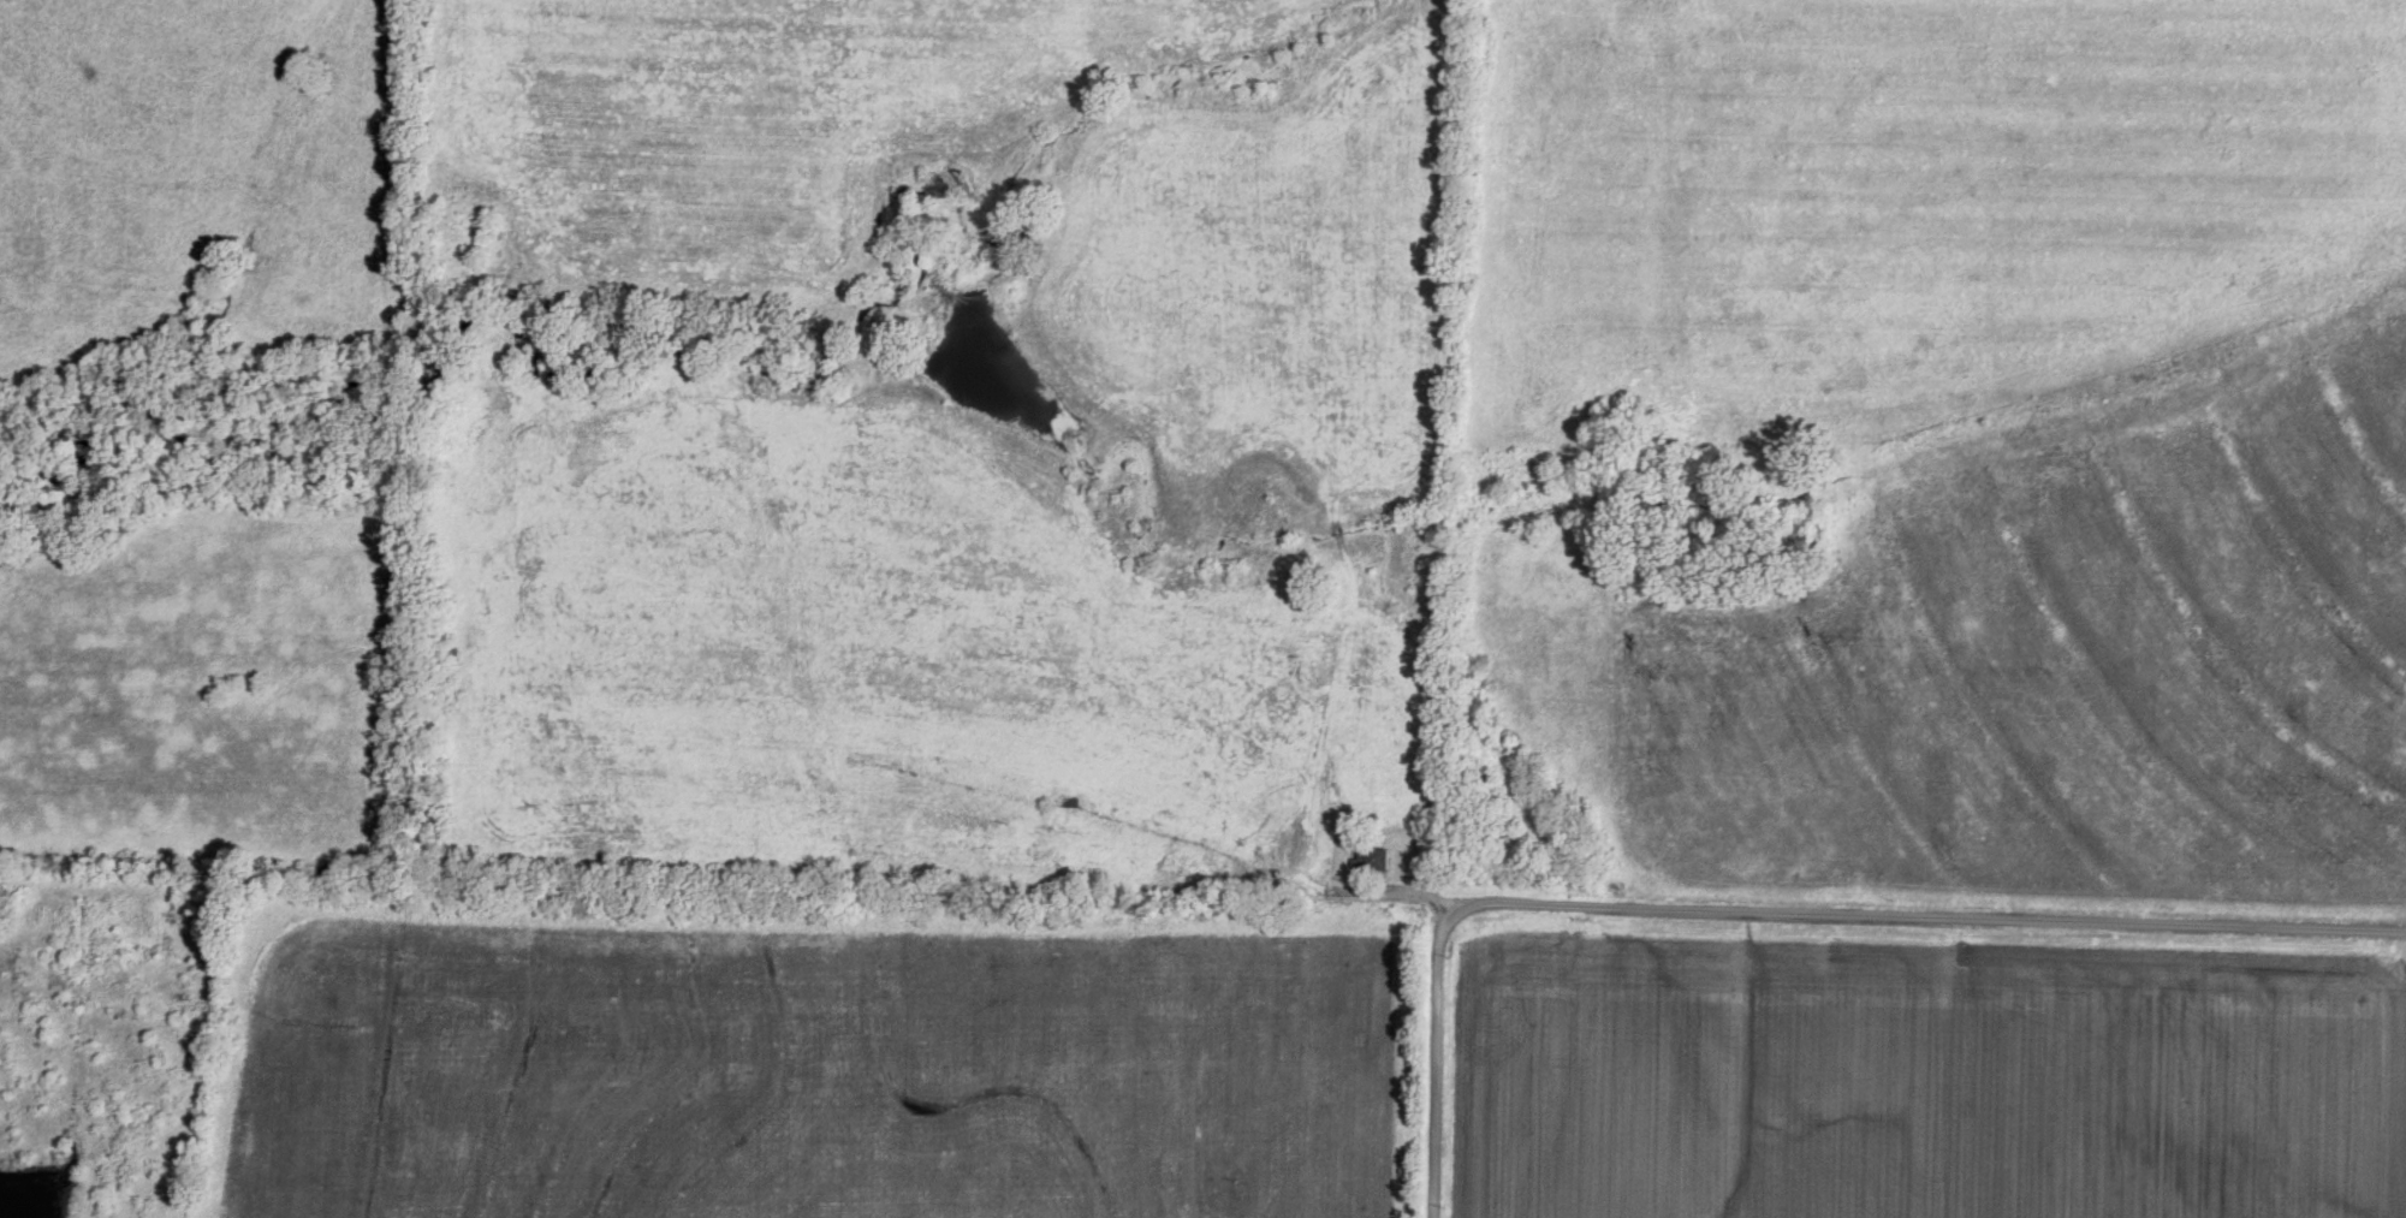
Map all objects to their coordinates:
crop: (1917, 213)
crop: (2009, 664)
building: (1372, 860)
road: (1401, 904)
road: (1942, 923)
road: (1436, 1057)
crop: (1918, 1071)

